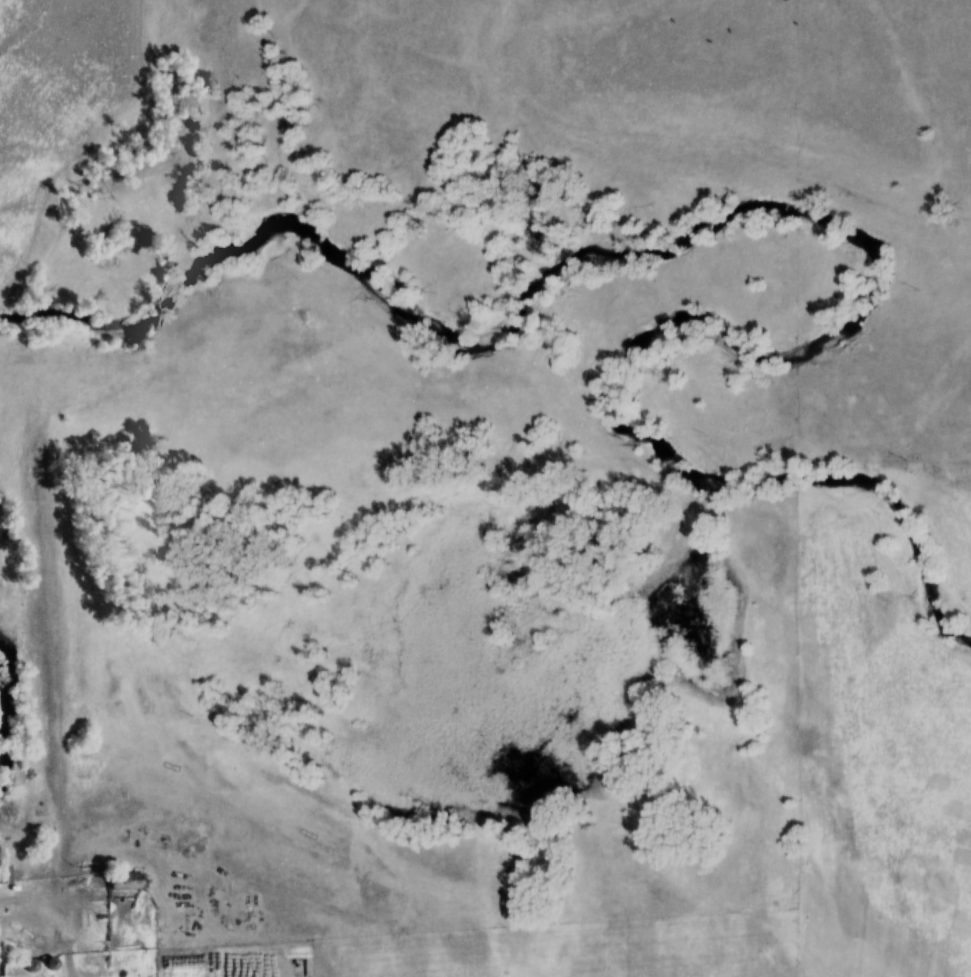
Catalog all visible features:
building: (129, 891)
building: (50, 970)

